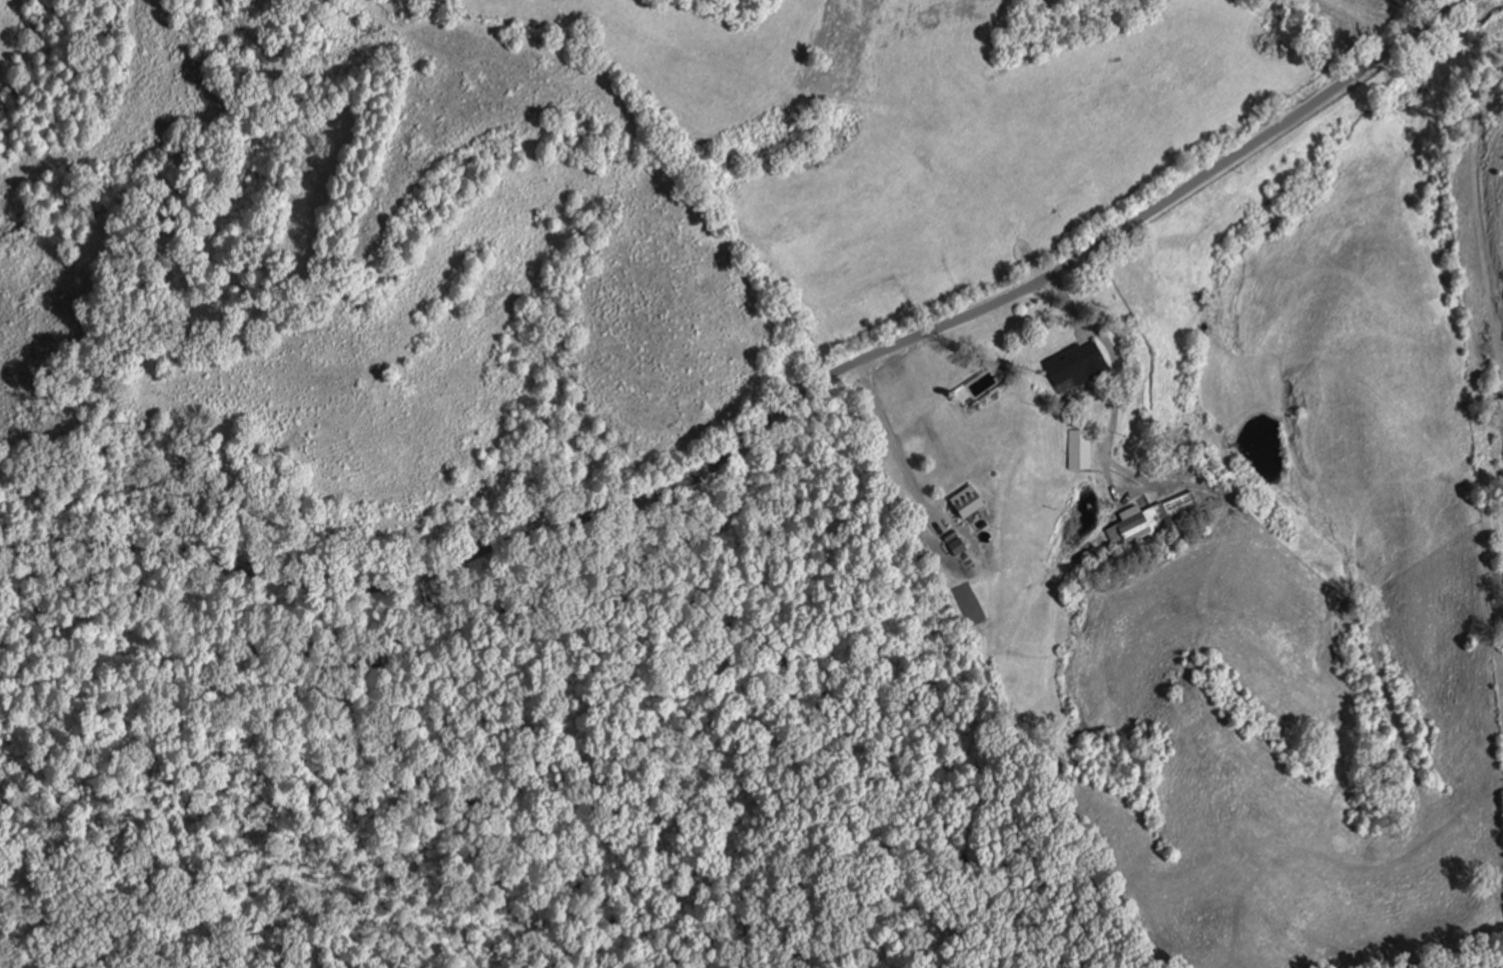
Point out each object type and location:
building: (1074, 365)
road: (768, 417)
road: (1486, 447)
building: (1078, 449)
building: (966, 502)
building: (1152, 519)
road: (817, 687)

